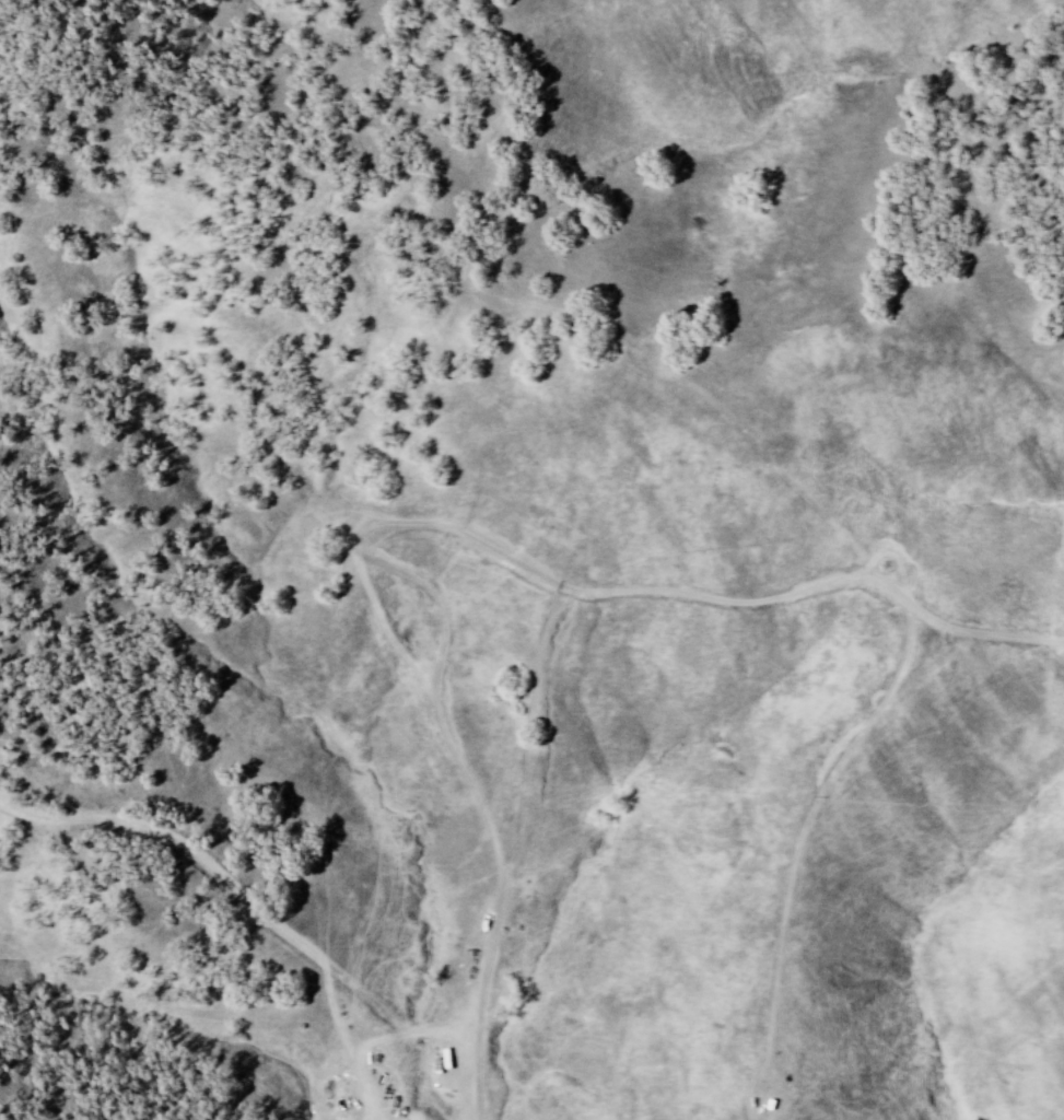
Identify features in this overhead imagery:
road: (1029, 635)

